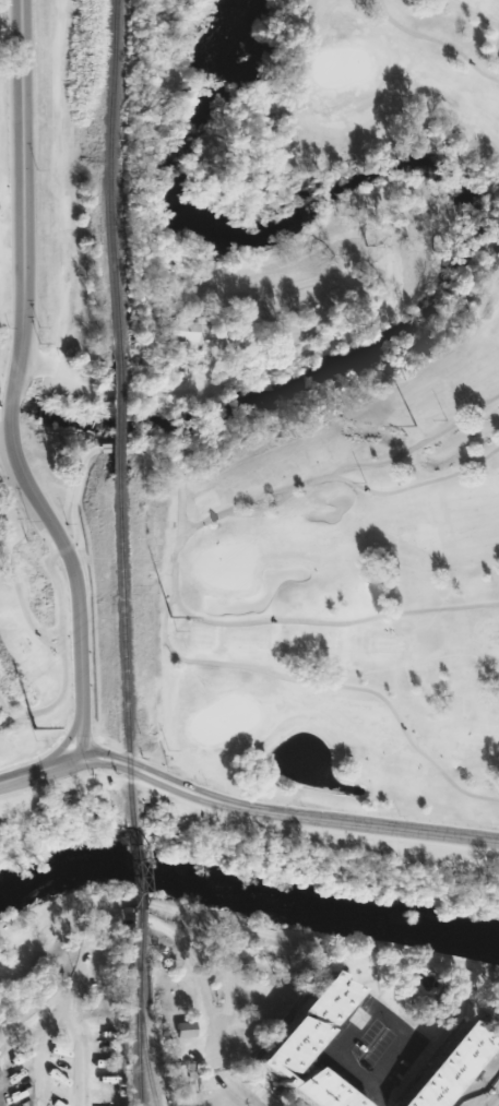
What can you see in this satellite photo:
park: (394, 69)
railway: (108, 179)
road: (15, 194)
park: (2, 212)
river: (464, 227)
building: (178, 330)
road: (3, 397)
road: (1, 413)
railway: (109, 423)
power tower: (416, 426)
park: (345, 600)
road: (72, 638)
park: (29, 644)
railway: (122, 655)
power tower: (33, 729)
road: (93, 740)
road: (131, 780)
road: (285, 812)
road: (330, 830)
park: (296, 848)
river: (248, 892)
railway: (131, 893)
road: (495, 909)
road: (169, 933)
road: (368, 1010)
road: (27, 1022)
building: (305, 1024)
building: (183, 1030)
railway: (136, 1032)
railway: (141, 1037)
road: (75, 1047)
parking lot: (366, 1048)
road: (209, 1051)
building: (441, 1072)
building: (316, 1089)
road: (372, 1095)
road: (489, 1098)
road: (234, 1102)
road: (231, 1104)

